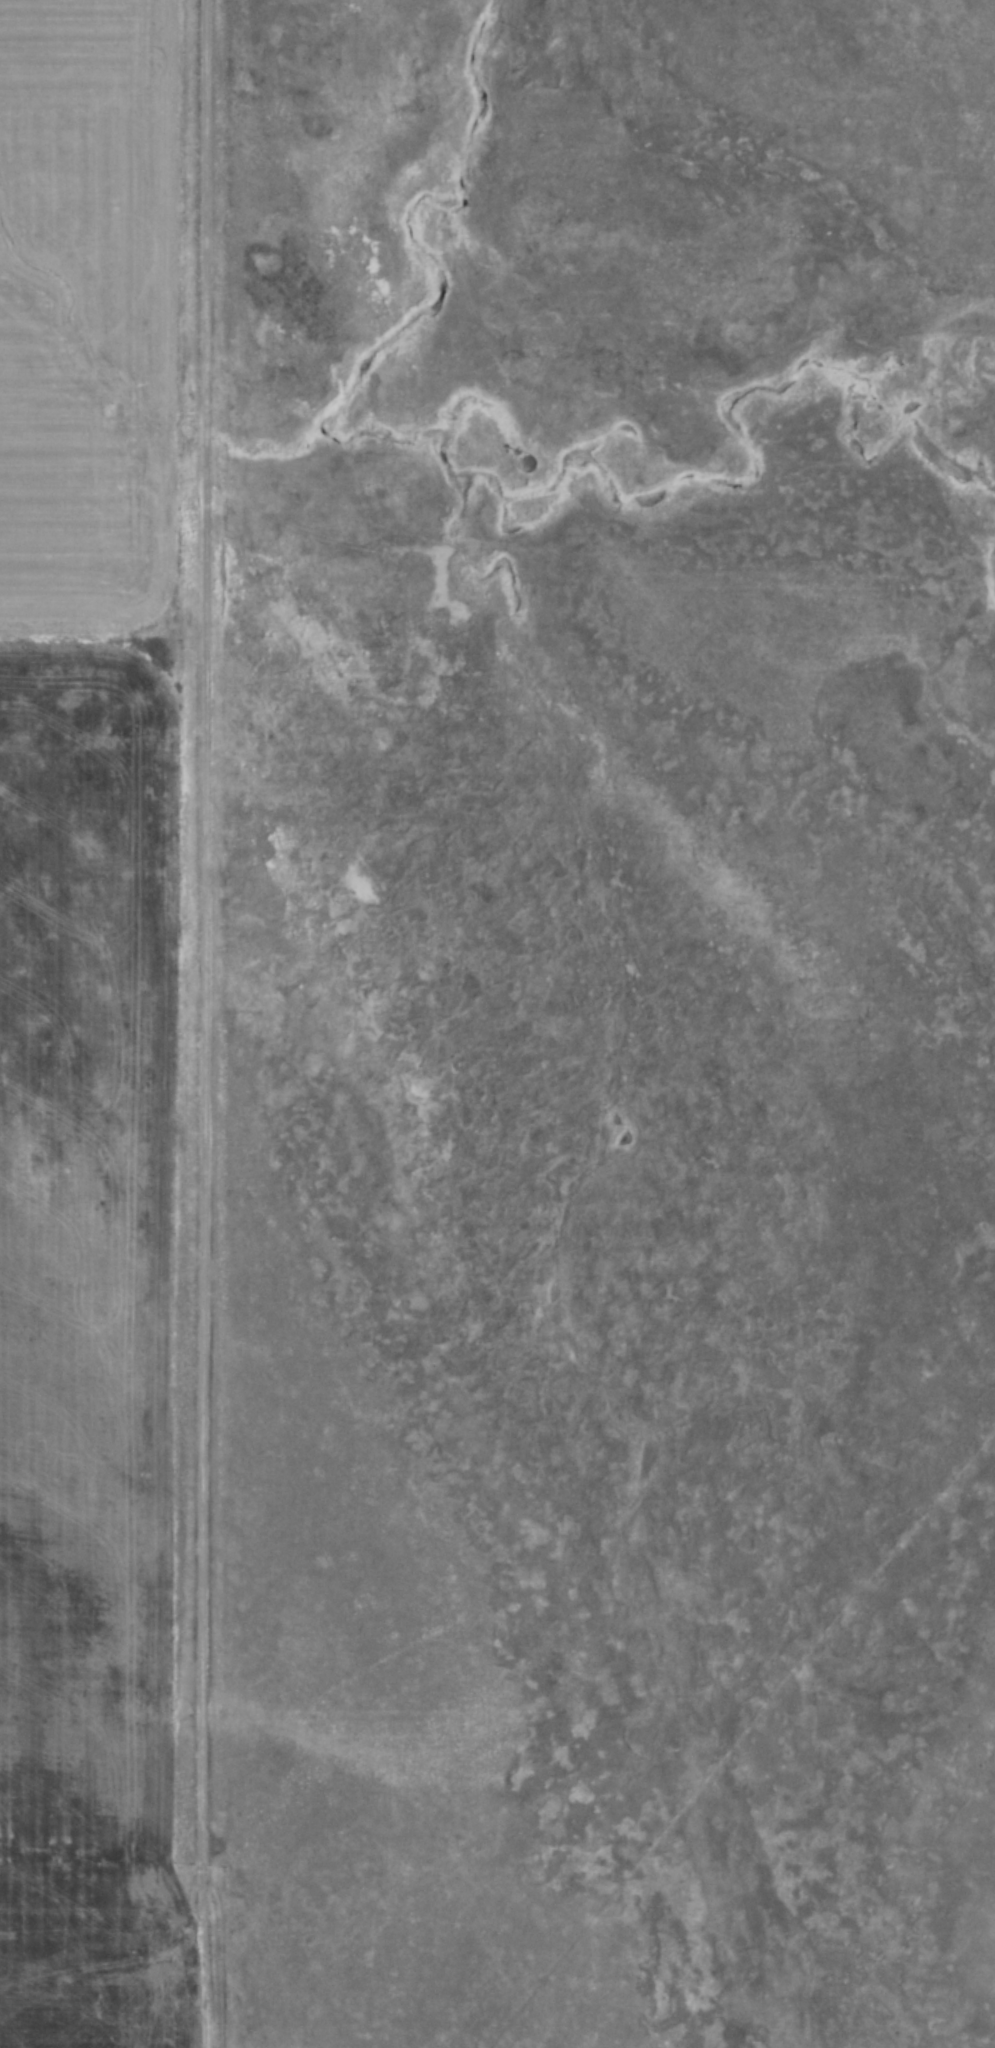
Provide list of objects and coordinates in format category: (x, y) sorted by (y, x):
road: (193, 1072)

